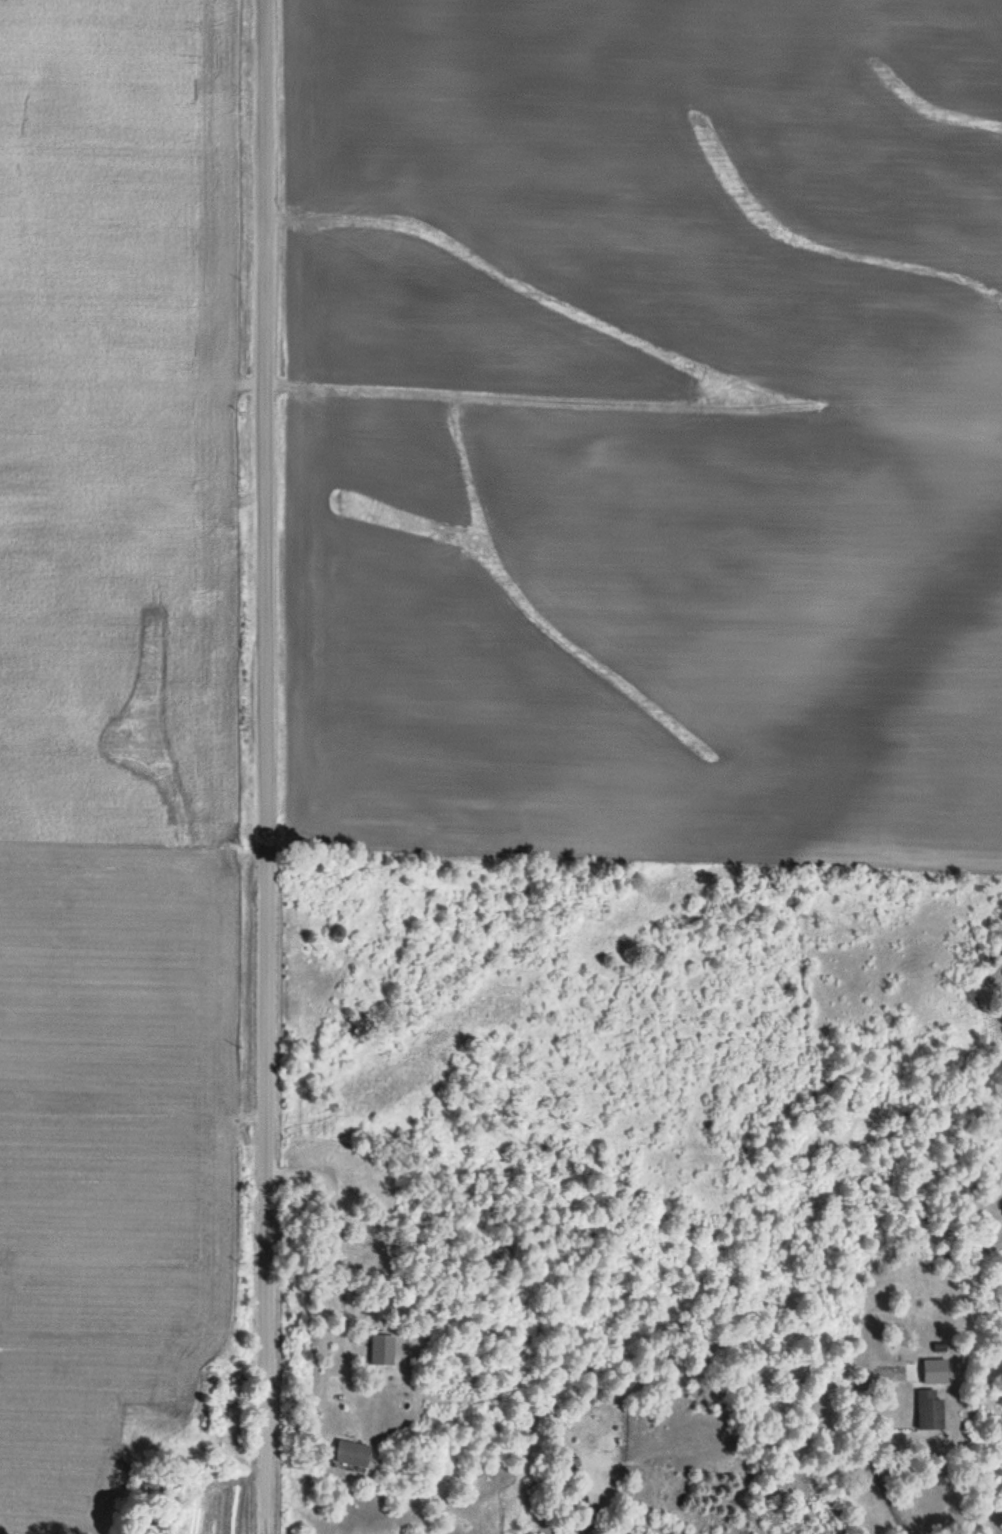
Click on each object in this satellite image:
road: (246, 767)
building: (380, 1350)
building: (927, 1409)
building: (349, 1453)

